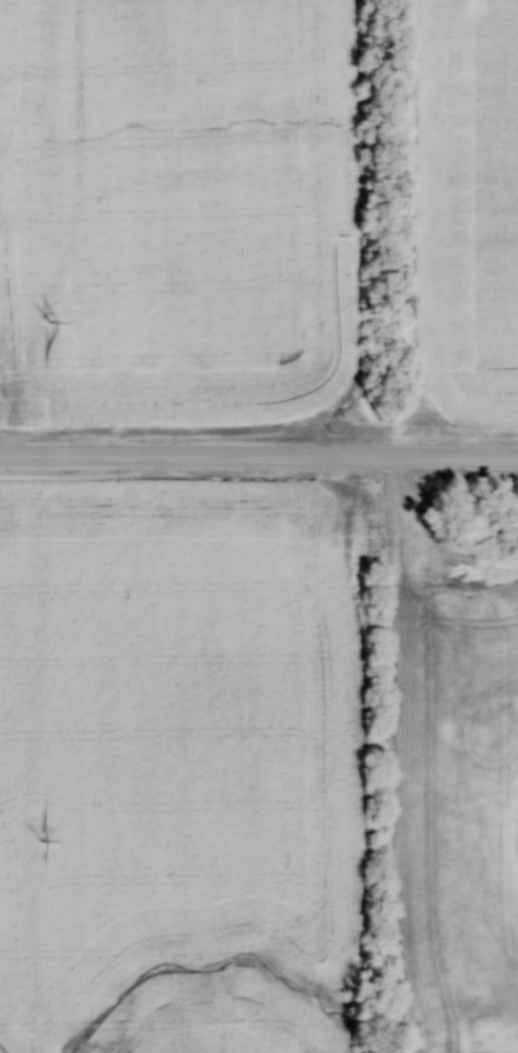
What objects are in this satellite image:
power tower: (50, 328)
road: (258, 457)
power tower: (42, 805)

